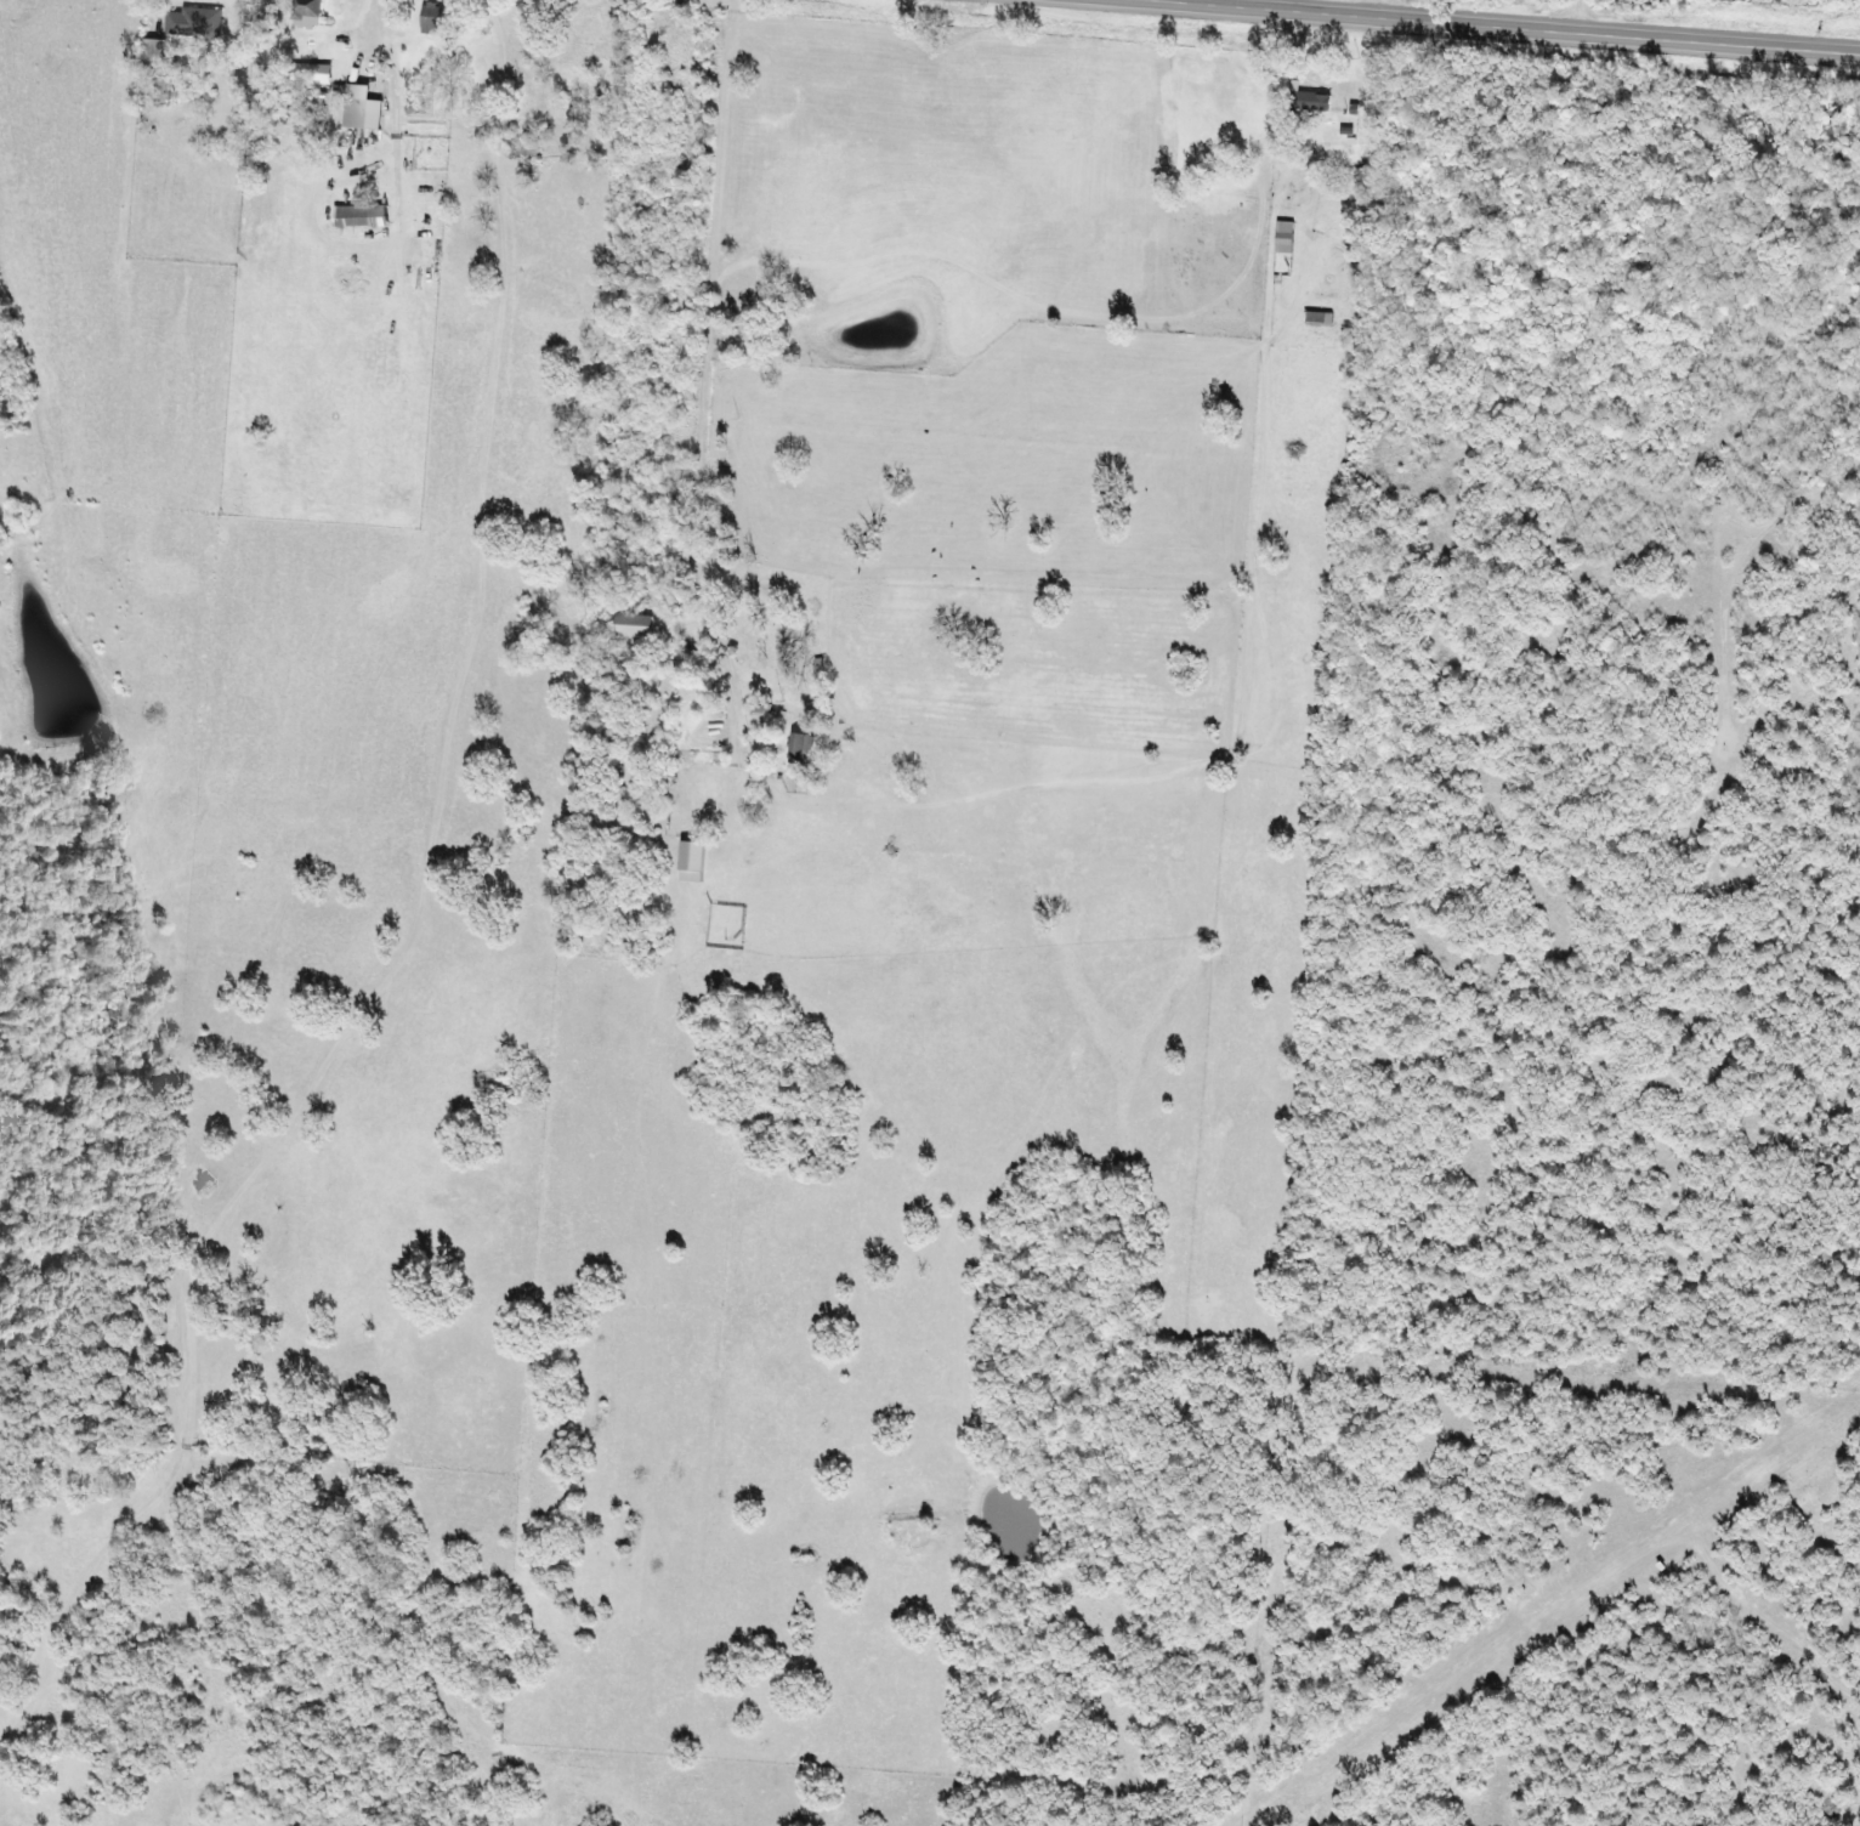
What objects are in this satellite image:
building: (310, 12)
building: (435, 17)
building: (194, 21)
road: (1471, 25)
building: (157, 52)
building: (1302, 100)
building: (363, 107)
building: (361, 215)
building: (1280, 236)
road: (486, 250)
building: (1315, 316)
road: (699, 374)
building: (635, 624)
building: (800, 745)
building: (694, 860)

